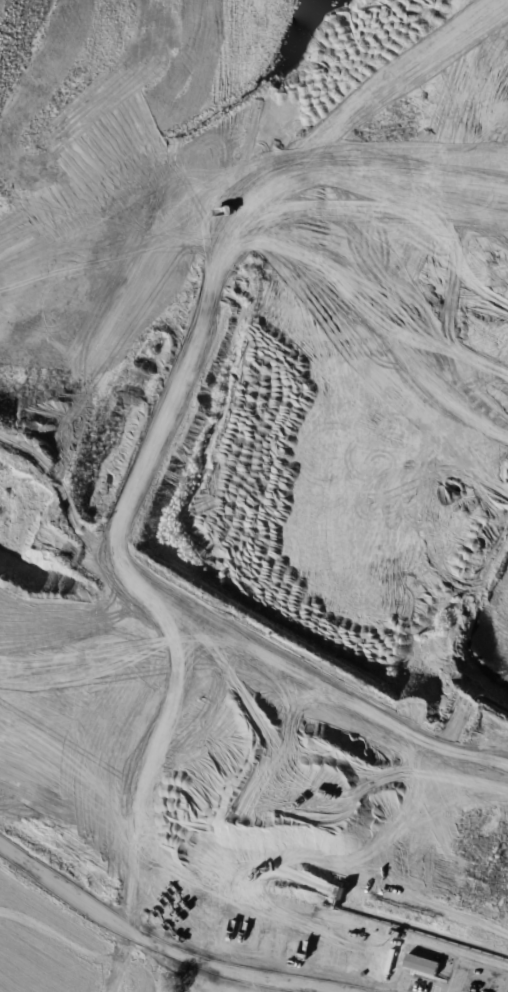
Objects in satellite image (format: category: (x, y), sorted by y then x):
quarry: (254, 496)
road: (250, 637)
road: (494, 749)
road: (157, 946)

